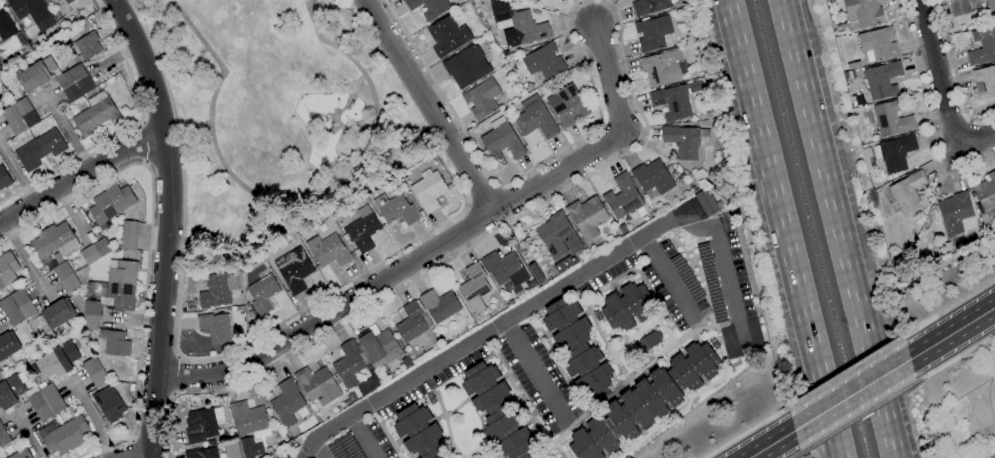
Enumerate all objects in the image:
building: (47, 0)
building: (530, 0)
building: (68, 1)
building: (989, 4)
building: (429, 7)
building: (649, 7)
building: (958, 7)
building: (34, 12)
building: (862, 13)
building: (517, 25)
building: (5, 26)
building: (652, 33)
building: (447, 36)
building: (21, 40)
building: (876, 44)
building: (981, 45)
building: (88, 46)
building: (544, 62)
building: (466, 66)
building: (660, 69)
road: (939, 73)
road: (954, 73)
building: (33, 76)
building: (80, 79)
building: (881, 80)
building: (983, 82)
building: (68, 86)
road: (440, 92)
building: (481, 99)
building: (672, 102)
road: (431, 105)
building: (567, 105)
building: (25, 112)
road: (597, 113)
road: (929, 115)
building: (95, 116)
park: (275, 116)
building: (534, 118)
building: (890, 119)
building: (13, 120)
road: (126, 127)
road: (400, 129)
road: (69, 133)
road: (976, 138)
building: (682, 141)
road: (141, 142)
building: (502, 142)
road: (602, 143)
building: (39, 150)
building: (894, 153)
road: (16, 174)
road: (78, 175)
building: (652, 176)
building: (4, 179)
building: (428, 191)
building: (907, 193)
building: (986, 194)
road: (481, 195)
building: (622, 197)
building: (706, 202)
building: (111, 203)
road: (295, 203)
building: (398, 211)
building: (952, 213)
road: (72, 215)
building: (587, 216)
road: (166, 224)
road: (784, 228)
road: (839, 229)
building: (362, 230)
building: (554, 234)
building: (129, 236)
road: (148, 245)
building: (95, 251)
building: (328, 251)
building: (57, 252)
road: (454, 256)
road: (25, 261)
building: (504, 268)
building: (7, 269)
building: (293, 270)
road: (725, 272)
road: (668, 279)
building: (121, 284)
building: (531, 284)
building: (474, 288)
building: (217, 290)
building: (262, 294)
building: (439, 305)
building: (626, 306)
road: (947, 307)
building: (17, 308)
road: (327, 310)
building: (57, 313)
building: (90, 316)
road: (130, 319)
building: (411, 322)
road: (495, 326)
building: (215, 327)
road: (951, 333)
building: (648, 340)
building: (114, 343)
building: (8, 345)
building: (379, 346)
building: (577, 348)
road: (202, 357)
road: (954, 359)
building: (58, 360)
building: (349, 363)
road: (533, 371)
road: (843, 371)
building: (94, 372)
road: (176, 376)
building: (317, 385)
building: (11, 390)
road: (850, 395)
building: (351, 397)
building: (44, 402)
building: (645, 402)
building: (286, 403)
building: (109, 404)
building: (496, 411)
road: (91, 416)
road: (856, 419)
building: (249, 421)
building: (200, 426)
building: (418, 432)
road: (744, 432)
road: (27, 435)
building: (65, 436)
road: (361, 437)
building: (3, 438)
road: (770, 444)
road: (130, 448)
road: (319, 449)
building: (201, 453)
building: (20, 454)
road: (796, 456)
building: (993, 456)
road: (138, 457)

